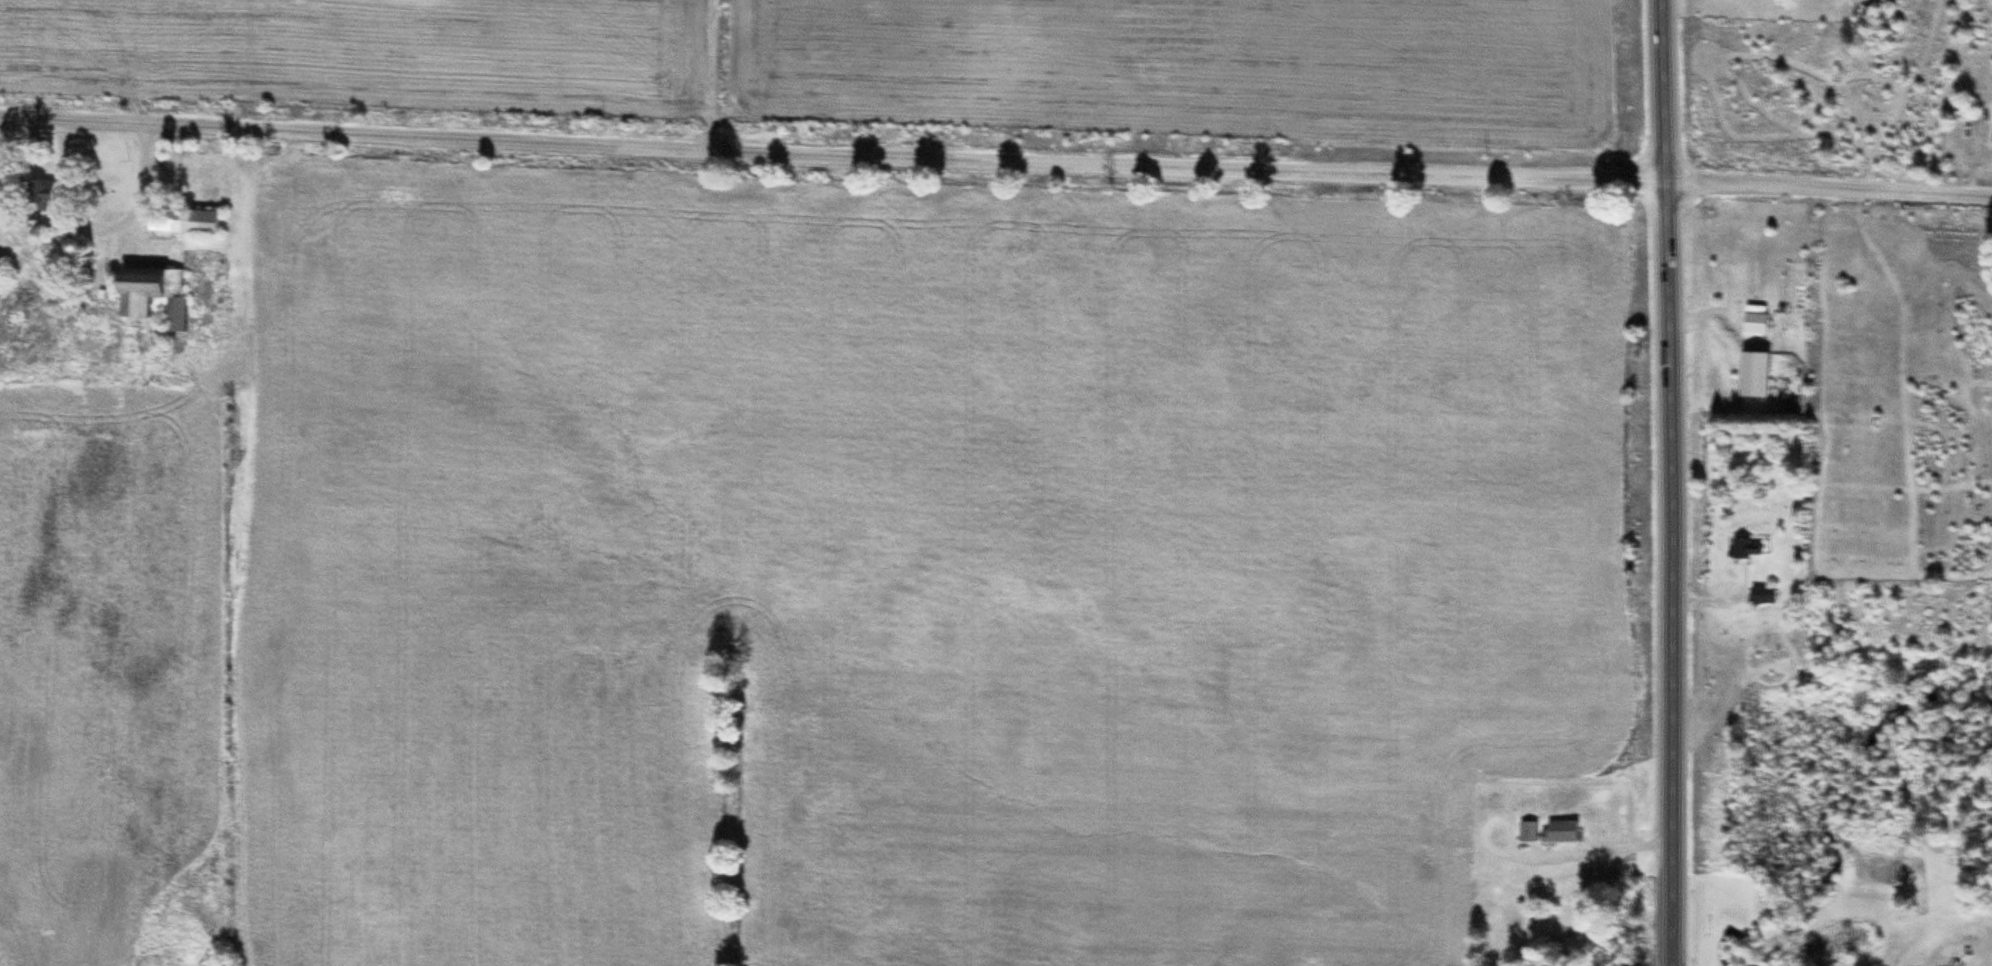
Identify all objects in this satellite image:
road: (834, 146)
road: (1830, 178)
building: (39, 196)
building: (183, 222)
building: (77, 247)
building: (151, 295)
building: (1757, 324)
building: (1754, 376)
road: (1675, 482)
building: (1745, 550)
building: (1763, 597)
building: (1529, 833)
building: (1561, 834)
building: (1950, 964)

